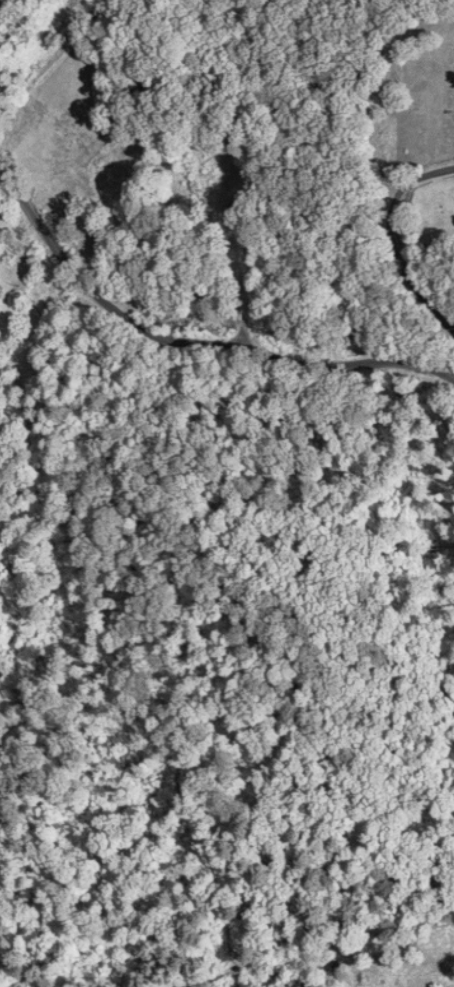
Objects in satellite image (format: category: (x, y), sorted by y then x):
building: (220, 179)
road: (196, 326)

